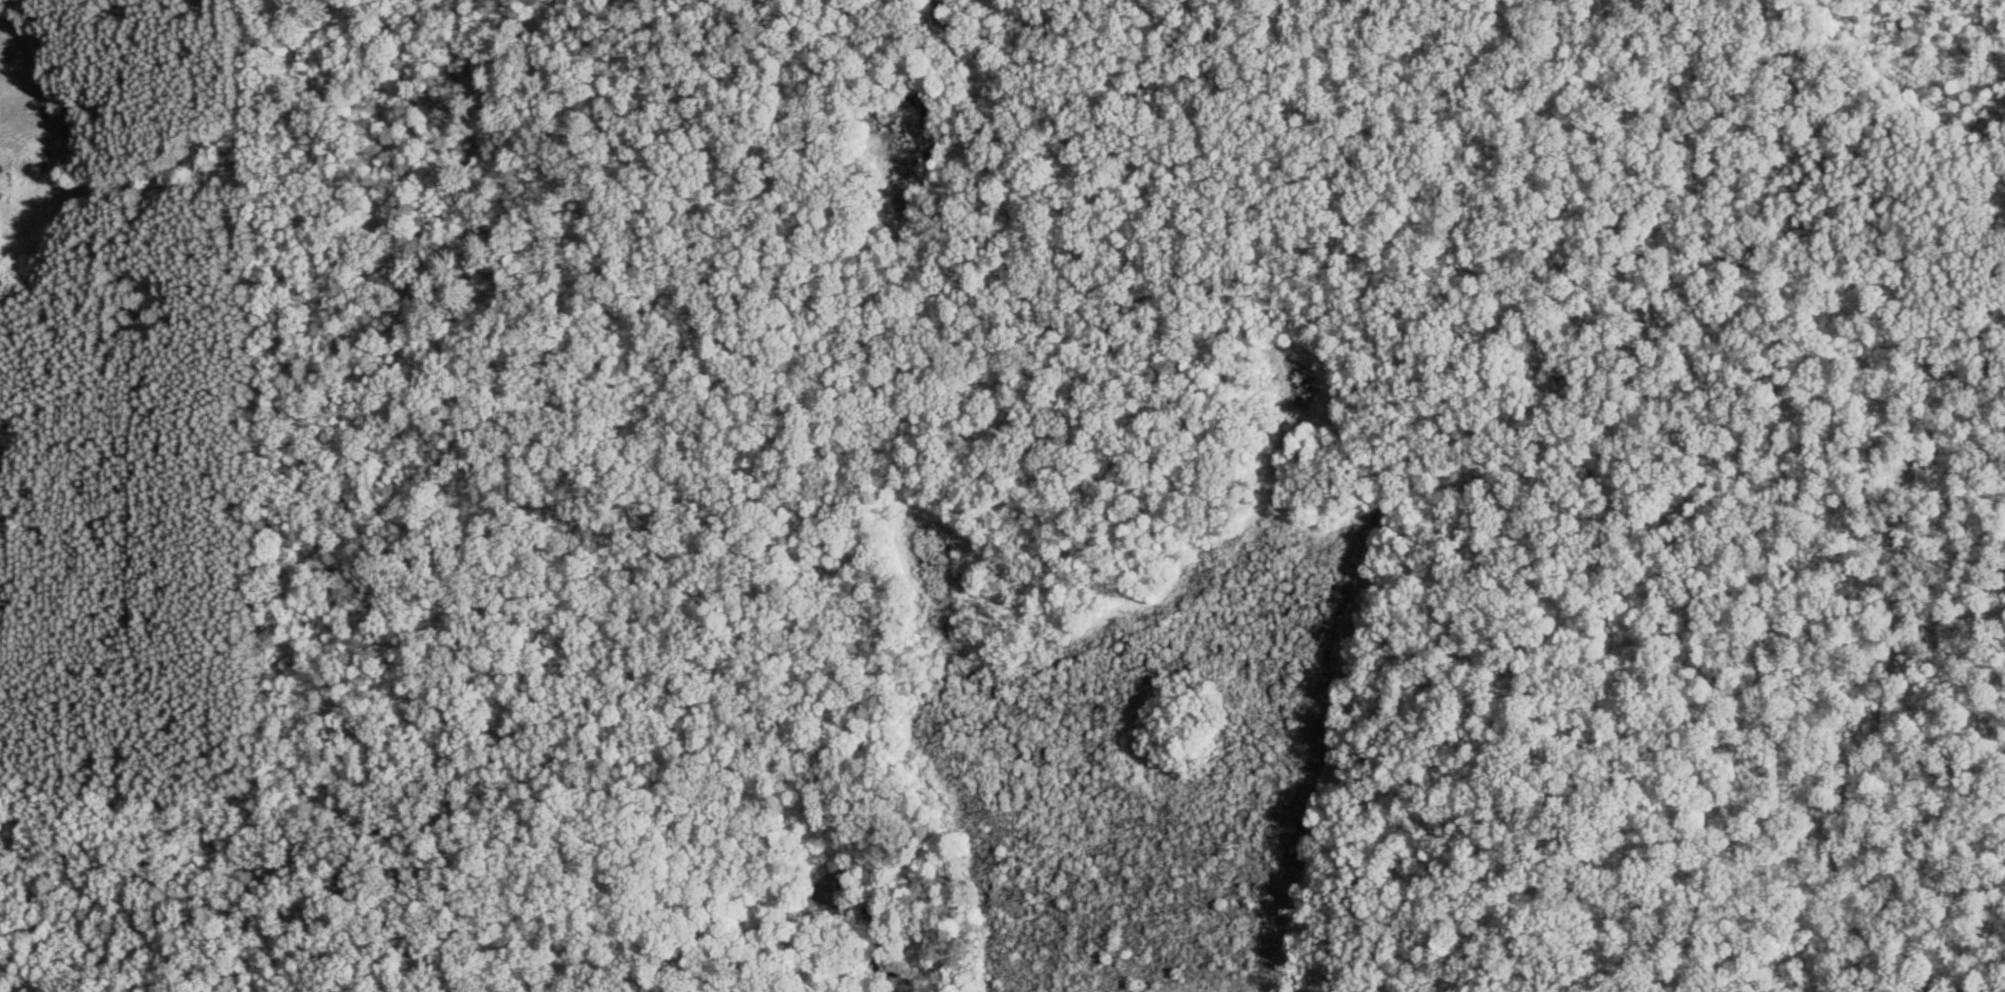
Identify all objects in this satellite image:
road: (183, 166)
road: (1874, 711)

